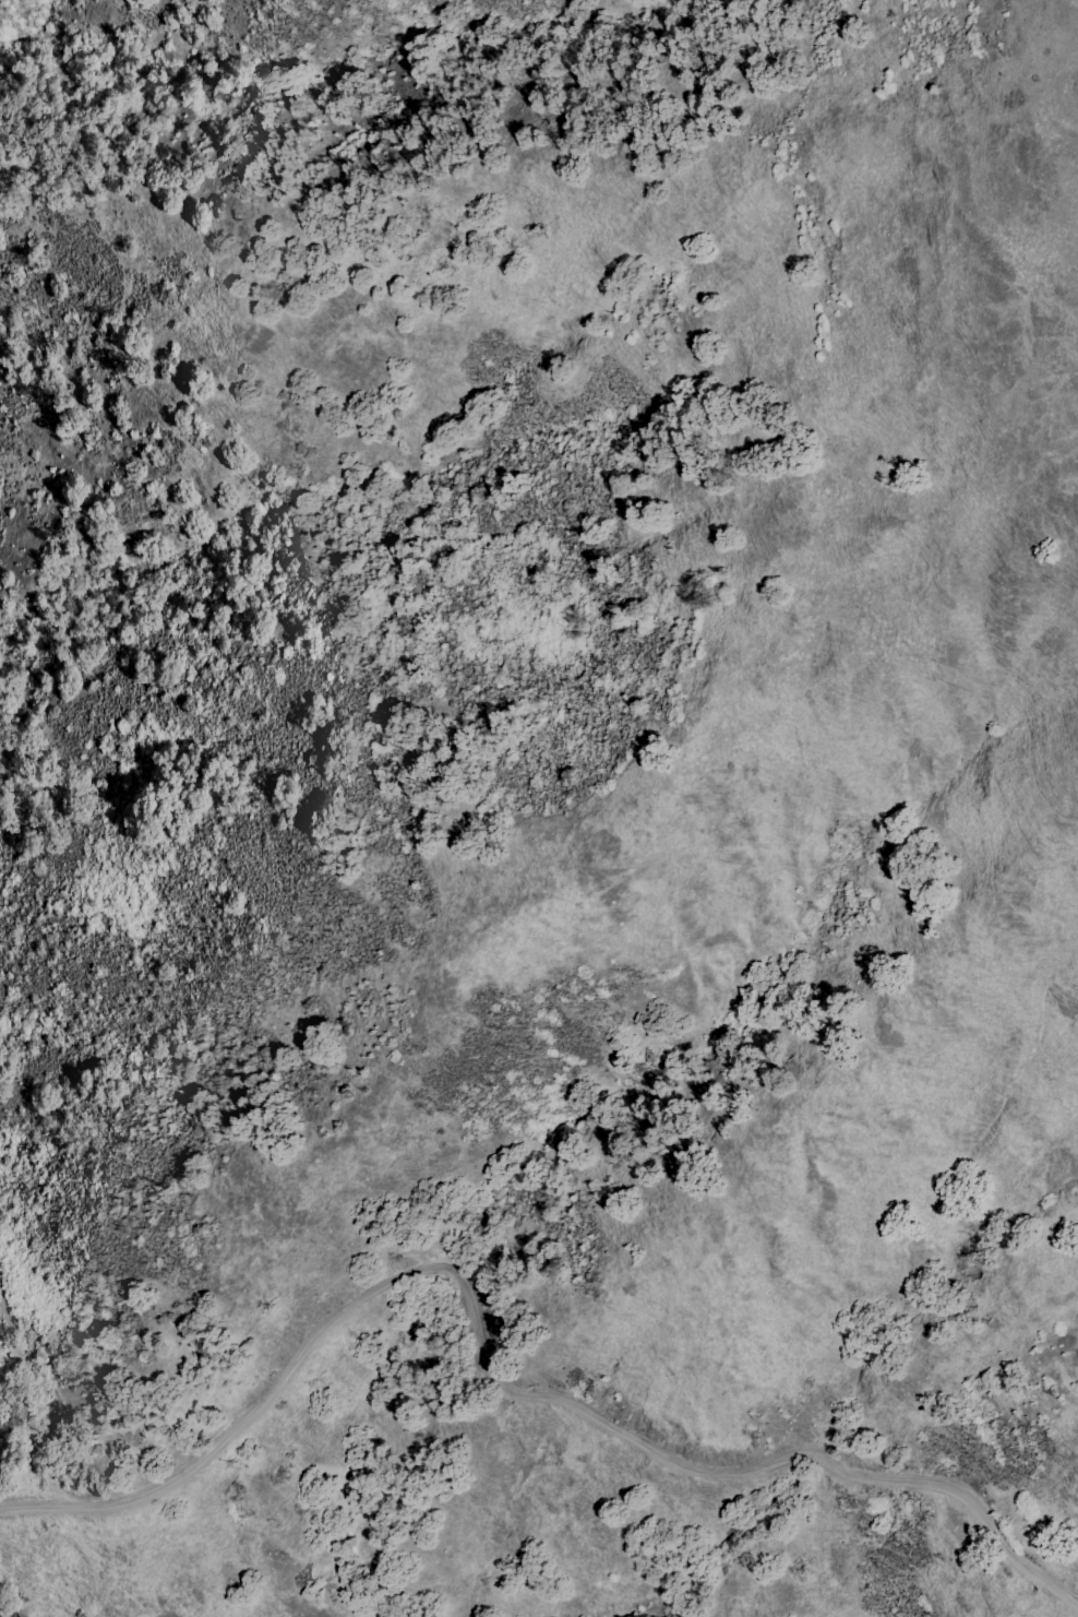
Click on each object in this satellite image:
road: (513, 1387)

